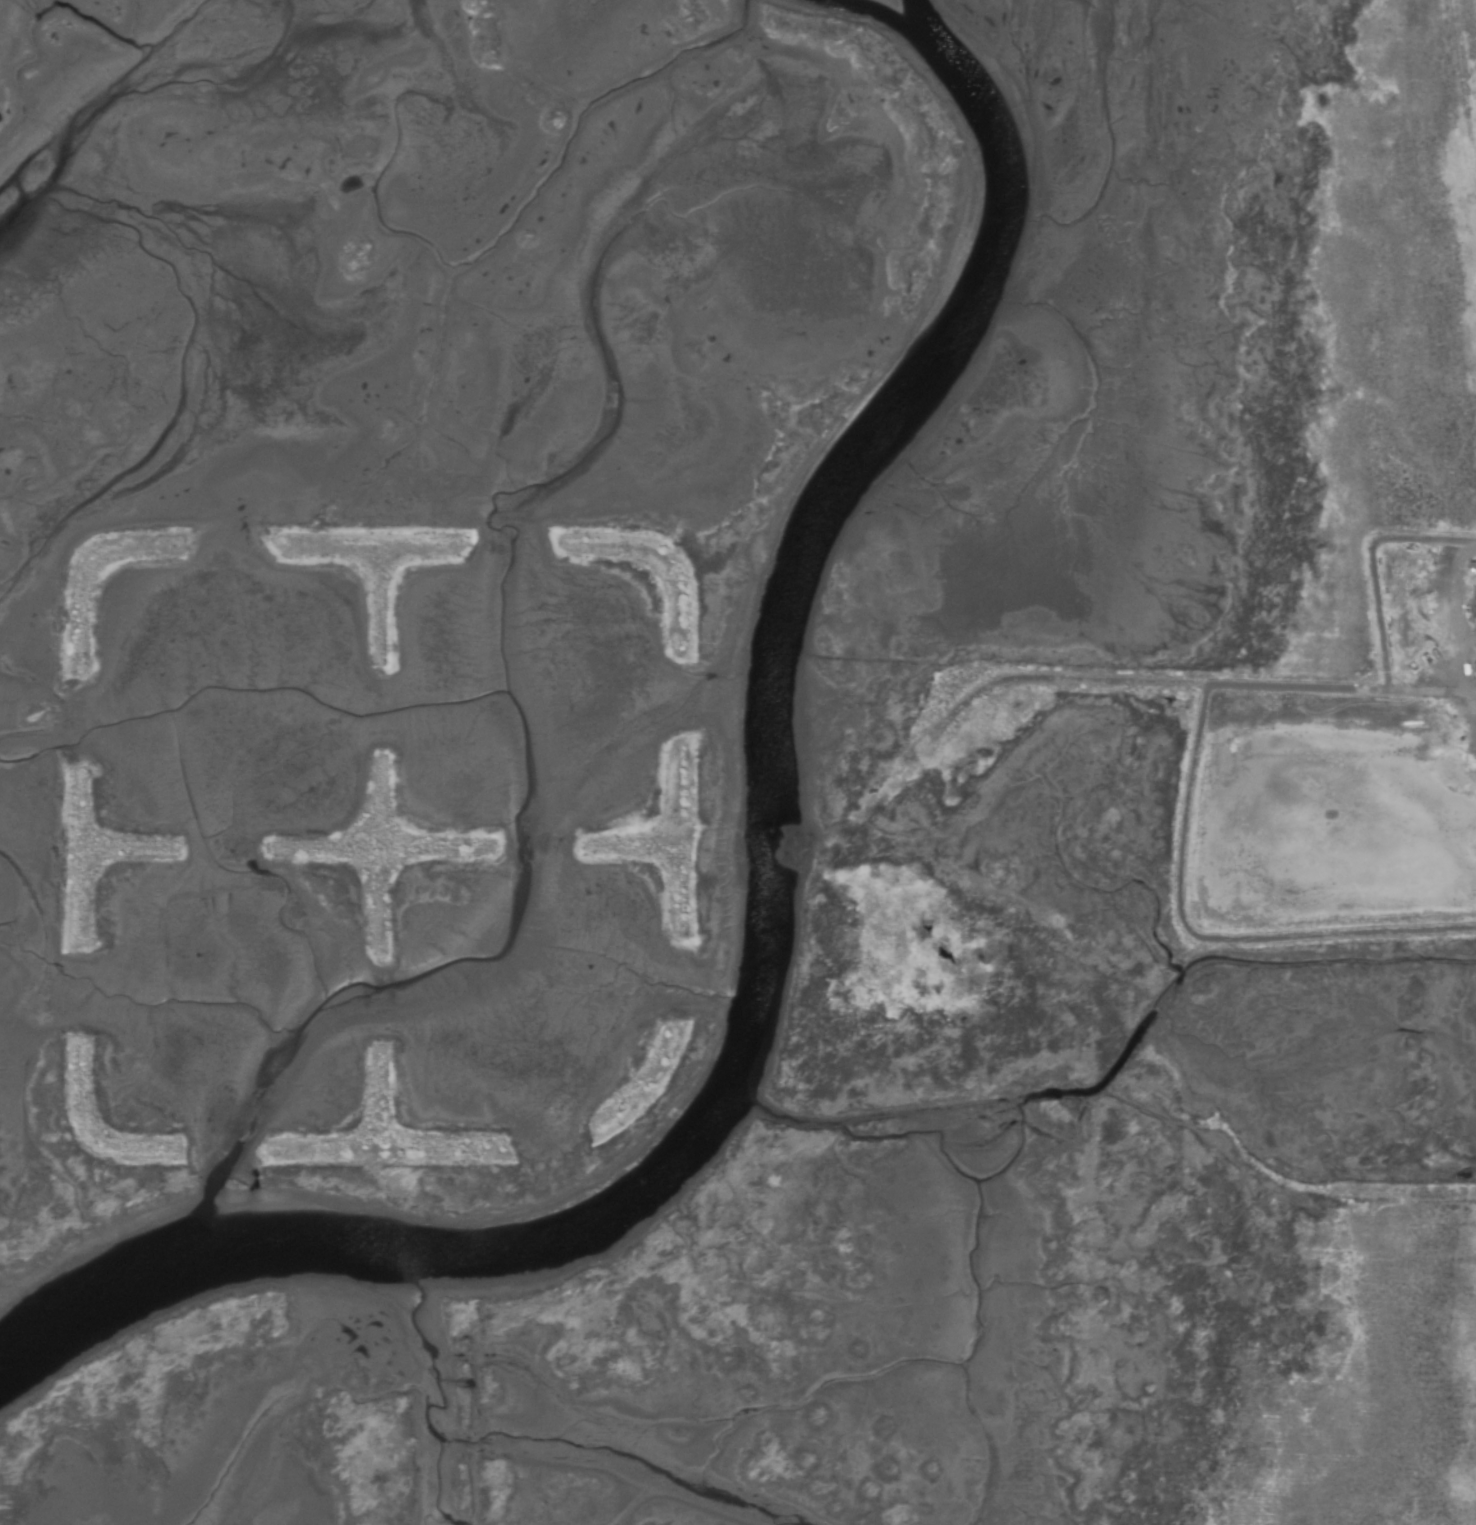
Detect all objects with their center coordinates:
road: (1376, 607)

